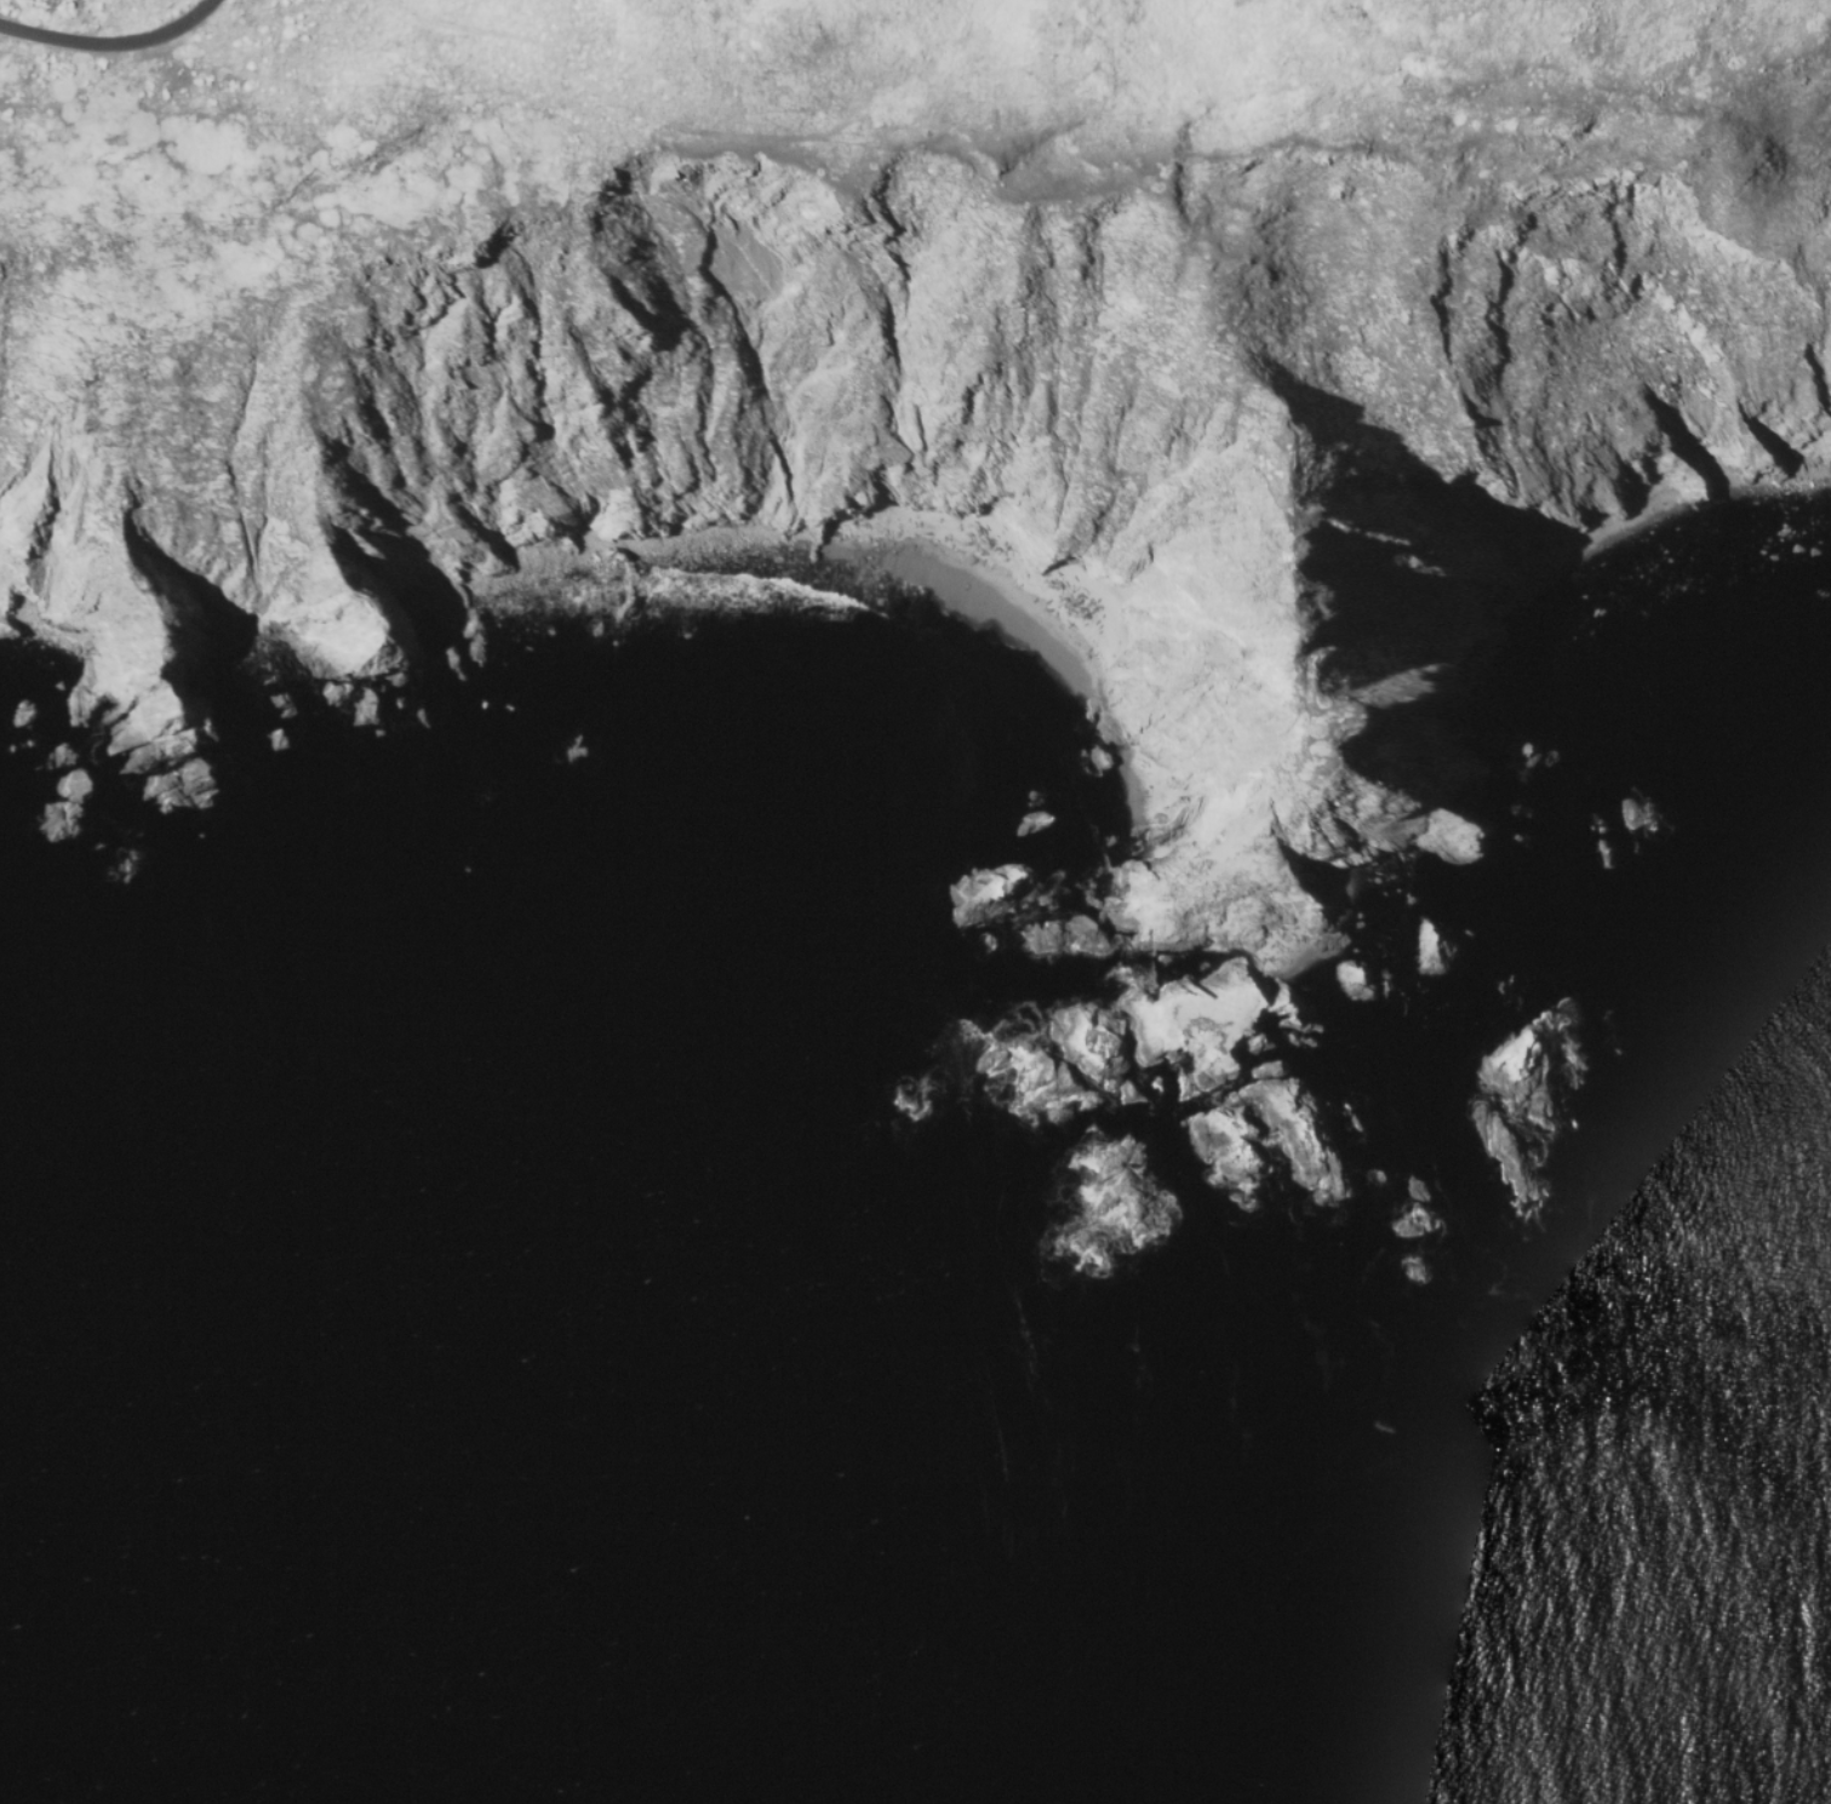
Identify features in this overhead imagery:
road: (111, 44)
road: (645, 111)

